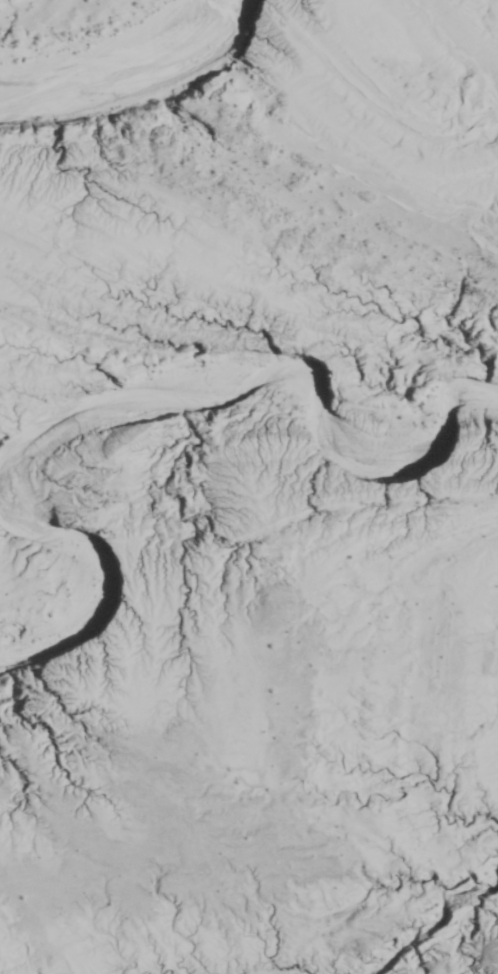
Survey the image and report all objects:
road: (109, 67)

